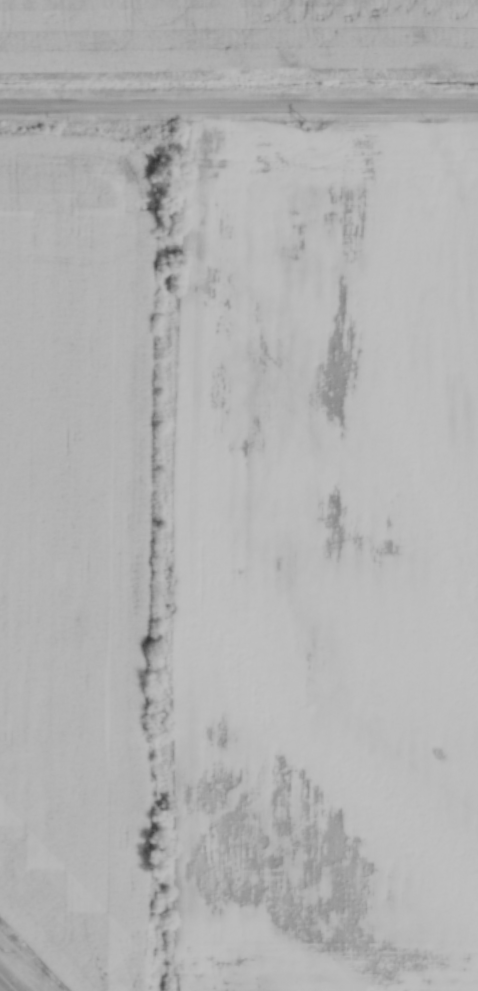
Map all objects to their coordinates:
road: (239, 102)
power tower: (307, 126)
road: (1, 989)

